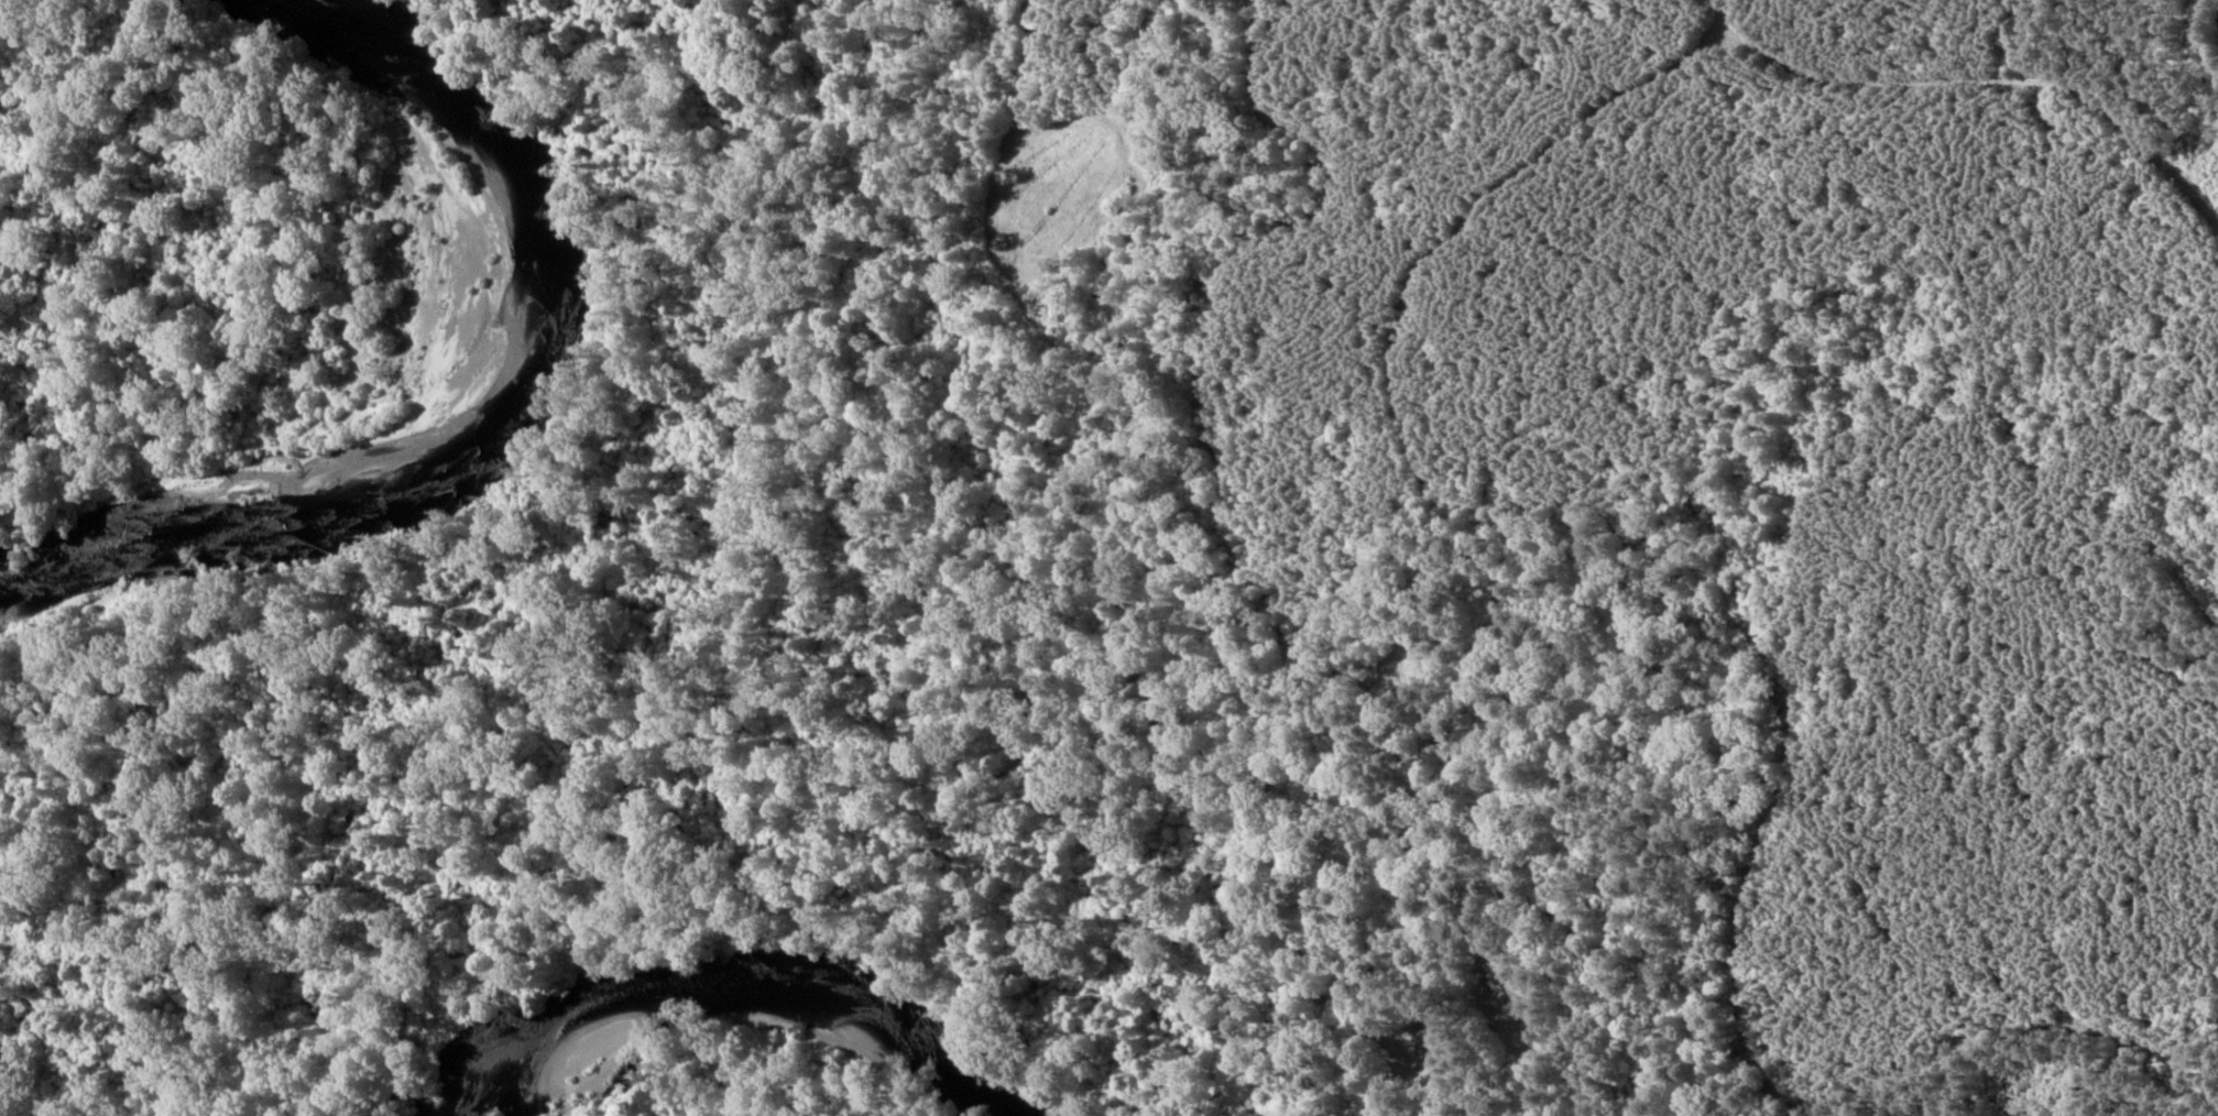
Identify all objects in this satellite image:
road: (1933, 131)

